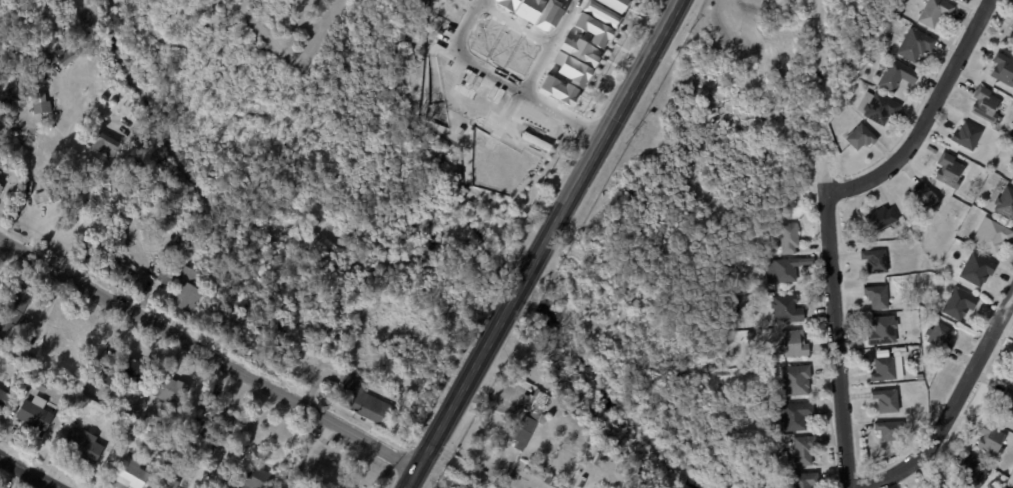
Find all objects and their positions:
building: (504, 3)
building: (615, 4)
building: (453, 7)
building: (527, 8)
building: (600, 12)
building: (934, 12)
building: (547, 14)
road: (465, 21)
road: (514, 21)
building: (1012, 25)
building: (593, 29)
parking lot: (447, 31)
building: (486, 36)
building: (1010, 39)
building: (914, 44)
road: (548, 45)
road: (441, 46)
building: (502, 48)
building: (579, 50)
building: (523, 56)
building: (869, 63)
parking lot: (453, 66)
building: (571, 68)
building: (1003, 69)
building: (895, 75)
building: (470, 88)
building: (558, 89)
road: (526, 92)
building: (493, 99)
building: (985, 104)
building: (40, 107)
building: (880, 108)
road: (507, 114)
road: (927, 117)
parking lot: (490, 121)
building: (518, 122)
road: (610, 124)
building: (541, 127)
building: (967, 135)
building: (1012, 135)
building: (860, 137)
building: (104, 144)
building: (948, 170)
building: (1012, 178)
building: (1, 184)
building: (970, 195)
building: (46, 197)
building: (924, 199)
road: (62, 200)
building: (1005, 202)
building: (880, 218)
building: (991, 236)
building: (788, 238)
building: (875, 261)
building: (977, 269)
building: (785, 270)
road: (523, 281)
building: (0, 286)
building: (179, 287)
building: (891, 295)
building: (877, 297)
building: (959, 304)
building: (13, 309)
building: (786, 309)
road: (834, 324)
building: (882, 330)
building: (940, 336)
building: (749, 337)
building: (792, 344)
road: (208, 351)
building: (882, 354)
building: (24, 355)
building: (1012, 363)
building: (887, 369)
building: (753, 371)
building: (135, 372)
building: (111, 377)
building: (920, 377)
building: (1012, 378)
building: (795, 380)
building: (40, 385)
building: (168, 391)
building: (2, 398)
road: (454, 400)
building: (886, 401)
building: (362, 402)
building: (560, 403)
building: (1007, 403)
road: (949, 407)
building: (33, 415)
building: (796, 416)
building: (530, 417)
building: (218, 418)
building: (130, 430)
building: (890, 431)
building: (192, 435)
building: (588, 439)
building: (992, 441)
building: (80, 446)
building: (592, 449)
building: (803, 450)
building: (597, 459)
building: (782, 461)
building: (528, 470)
road: (27, 472)
building: (130, 474)
building: (971, 474)
building: (539, 476)
building: (329, 477)
building: (258, 480)
building: (805, 480)
building: (548, 481)
building: (554, 483)
building: (168, 484)
building: (561, 486)

